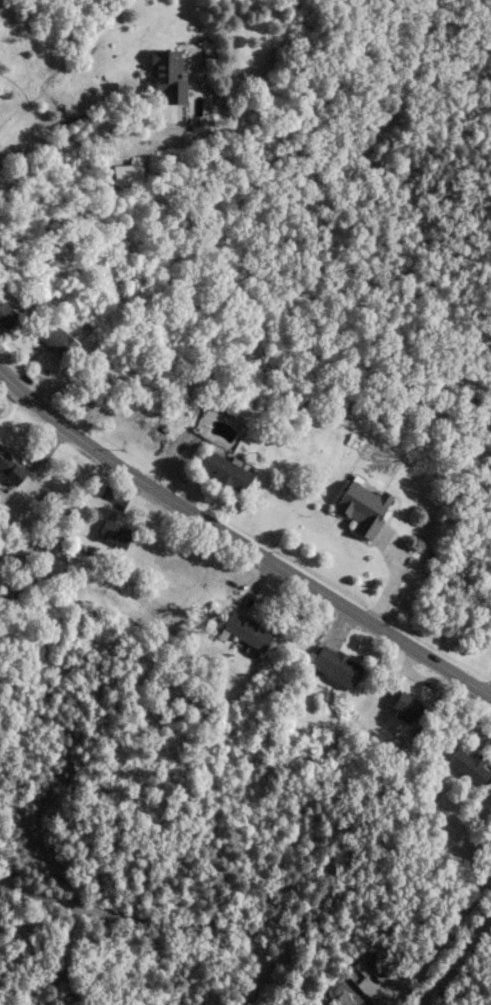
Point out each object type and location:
building: (163, 75)
building: (123, 173)
building: (4, 316)
building: (52, 338)
building: (219, 470)
building: (8, 471)
building: (358, 504)
building: (111, 529)
road: (240, 540)
building: (242, 631)
building: (332, 665)
building: (404, 707)
building: (465, 766)
road: (150, 922)
road: (443, 937)
building: (341, 999)

